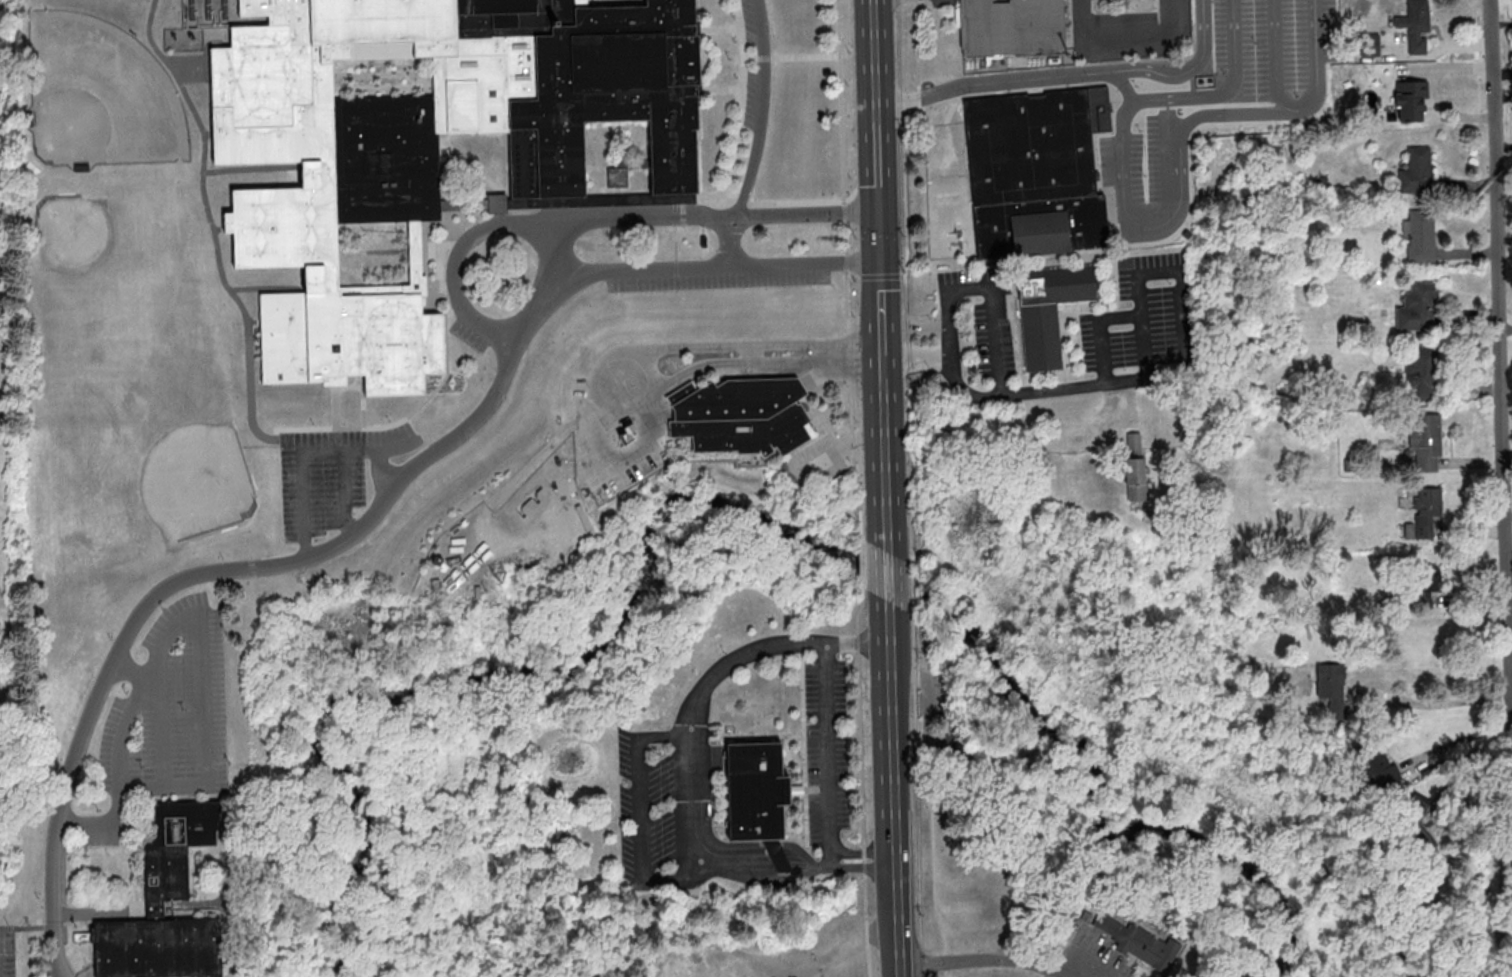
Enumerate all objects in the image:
building: (1417, 25)
building: (1011, 27)
road: (1123, 40)
road: (1316, 57)
road: (1273, 64)
road: (1070, 74)
road: (1222, 92)
road: (841, 100)
building: (1411, 100)
road: (762, 111)
road: (1245, 114)
road: (919, 117)
road: (875, 131)
building: (421, 146)
building: (1035, 170)
building: (1416, 171)
road: (1129, 210)
road: (603, 222)
traffic signals: (879, 236)
building: (1420, 236)
road: (730, 243)
road: (553, 254)
road: (714, 269)
road: (991, 307)
building: (1417, 307)
building: (1047, 308)
road: (881, 310)
road: (916, 327)
road: (950, 339)
road: (750, 351)
road: (1499, 352)
road: (917, 355)
road: (1187, 365)
road: (647, 366)
building: (1420, 373)
road: (883, 375)
building: (740, 415)
building: (1426, 440)
road: (310, 452)
building: (1136, 467)
road: (383, 469)
road: (886, 471)
road: (346, 492)
river: (729, 511)
building: (1424, 515)
road: (1507, 516)
road: (1508, 559)
road: (242, 570)
building: (1423, 577)
road: (889, 578)
road: (858, 643)
road: (732, 657)
building: (1332, 685)
road: (1396, 696)
road: (201, 719)
road: (893, 722)
road: (121, 732)
building: (956, 745)
road: (1468, 752)
building: (1378, 767)
road: (1509, 777)
building: (758, 796)
road: (689, 806)
building: (1414, 815)
road: (863, 849)
road: (864, 865)
building: (169, 872)
road: (752, 876)
road: (899, 907)
building: (1145, 946)
road: (59, 949)
road: (982, 961)

